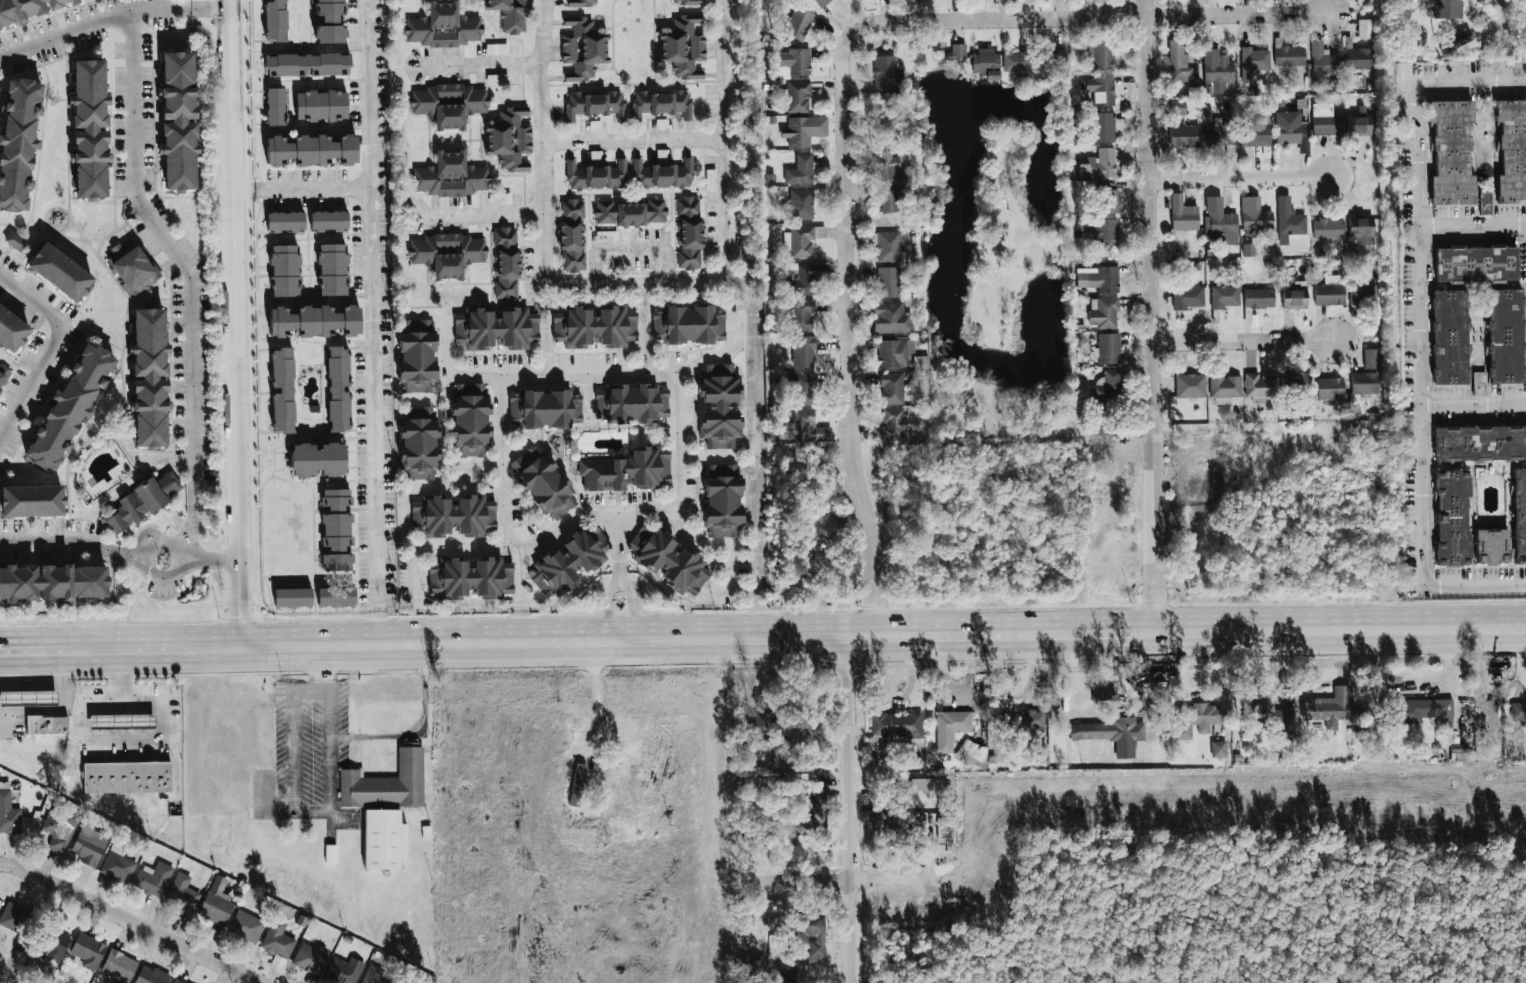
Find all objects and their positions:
building: (1098, 0)
building: (686, 2)
building: (820, 2)
building: (580, 3)
building: (25, 9)
building: (1449, 9)
road: (210, 10)
road: (1497, 12)
building: (511, 14)
road: (1091, 19)
building: (275, 20)
building: (329, 21)
road: (94, 23)
building: (798, 24)
building: (443, 26)
building: (1364, 29)
building: (1462, 38)
building: (682, 46)
building: (581, 49)
building: (957, 51)
building: (1102, 56)
building: (1289, 56)
building: (1358, 59)
building: (1255, 60)
building: (795, 61)
building: (1058, 61)
building: (1323, 63)
building: (307, 64)
road: (481, 64)
building: (985, 64)
building: (1019, 64)
building: (1217, 67)
building: (1184, 71)
building: (887, 73)
road: (1472, 81)
building: (1100, 89)
building: (798, 97)
building: (449, 104)
building: (660, 104)
building: (321, 105)
building: (594, 105)
building: (275, 106)
building: (1177, 107)
building: (181, 122)
building: (1327, 124)
building: (1358, 126)
building: (1103, 127)
building: (1290, 128)
building: (94, 131)
building: (798, 132)
building: (1255, 135)
building: (1184, 136)
building: (1223, 136)
building: (510, 138)
road: (633, 140)
road: (724, 140)
building: (20, 146)
building: (311, 150)
building: (1511, 152)
building: (1450, 153)
building: (1098, 164)
building: (800, 169)
building: (662, 175)
building: (450, 176)
building: (595, 176)
road: (1242, 178)
building: (711, 180)
road: (305, 188)
building: (891, 194)
building: (1106, 199)
building: (1486, 203)
building: (801, 204)
building: (629, 213)
road: (484, 214)
building: (1183, 215)
building: (329, 220)
building: (1257, 220)
building: (285, 221)
building: (1223, 223)
building: (1292, 223)
road: (1473, 224)
building: (1328, 228)
building: (1361, 230)
building: (1103, 232)
building: (688, 233)
building: (572, 235)
building: (607, 236)
building: (15, 241)
building: (801, 242)
building: (886, 245)
road: (630, 252)
building: (446, 253)
road: (176, 255)
building: (506, 263)
building: (1477, 264)
building: (134, 269)
building: (332, 269)
building: (285, 270)
building: (62, 275)
building: (806, 278)
building: (1102, 279)
road: (683, 282)
building: (887, 282)
building: (1362, 294)
building: (1225, 295)
building: (1188, 298)
building: (1258, 299)
building: (1293, 299)
building: (1103, 313)
road: (1152, 315)
building: (801, 316)
building: (890, 318)
building: (314, 321)
road: (378, 324)
building: (686, 325)
road: (237, 326)
building: (593, 327)
building: (497, 328)
road: (646, 328)
building: (12, 331)
road: (1421, 332)
building: (1505, 337)
road: (844, 338)
building: (1448, 338)
road: (546, 339)
road: (1245, 345)
road: (47, 349)
building: (1108, 349)
building: (803, 352)
building: (893, 354)
road: (445, 355)
road: (615, 372)
building: (1366, 375)
building: (5, 377)
building: (152, 380)
building: (1294, 383)
building: (1479, 383)
building: (1190, 386)
building: (1225, 386)
building: (1261, 386)
building: (1108, 387)
building: (892, 388)
building: (339, 389)
building: (805, 389)
building: (1330, 389)
building: (282, 390)
road: (587, 397)
building: (630, 404)
road: (1473, 405)
building: (716, 406)
building: (545, 408)
building: (72, 410)
building: (471, 420)
building: (1101, 420)
building: (894, 424)
building: (805, 427)
building: (1480, 444)
road: (706, 455)
building: (1201, 458)
building: (318, 459)
road: (498, 459)
road: (471, 467)
building: (627, 471)
road: (679, 478)
building: (544, 484)
building: (719, 500)
building: (34, 502)
building: (145, 503)
building: (453, 515)
building: (1519, 516)
building: (1450, 519)
road: (190, 529)
building: (336, 530)
road: (59, 539)
road: (549, 540)
building: (1490, 546)
road: (619, 548)
road: (129, 554)
road: (215, 559)
road: (140, 560)
building: (666, 560)
building: (570, 562)
building: (471, 577)
road: (734, 578)
road: (618, 582)
road: (1474, 582)
building: (54, 584)
building: (336, 596)
road: (522, 596)
building: (293, 597)
road: (795, 638)
road: (32, 657)
road: (318, 670)
road: (15, 671)
road: (122, 676)
road: (32, 683)
road: (12, 687)
road: (28, 687)
road: (43, 687)
road: (43, 697)
road: (12, 698)
building: (28, 698)
road: (28, 698)
road: (597, 701)
road: (120, 705)
road: (140, 705)
road: (103, 706)
road: (44, 707)
road: (12, 708)
road: (28, 708)
building: (1320, 709)
road: (58, 710)
building: (1423, 711)
building: (1518, 711)
road: (209, 713)
building: (1266, 716)
building: (1197, 719)
road: (3, 721)
road: (103, 721)
road: (120, 721)
building: (122, 721)
road: (140, 721)
building: (1021, 722)
building: (955, 724)
building: (47, 725)
building: (765, 725)
building: (896, 725)
building: (1102, 730)
road: (417, 731)
road: (103, 732)
road: (121, 732)
road: (140, 732)
road: (122, 736)
building: (1219, 749)
building: (1124, 750)
building: (972, 752)
building: (1460, 752)
road: (292, 762)
building: (127, 777)
building: (387, 782)
building: (760, 787)
building: (617, 793)
building: (817, 794)
road: (127, 805)
road: (847, 809)
building: (8, 814)
building: (806, 825)
building: (58, 830)
building: (385, 839)
building: (89, 845)
building: (118, 865)
building: (153, 879)
road: (848, 880)
building: (182, 892)
building: (217, 902)
building: (15, 917)
road: (130, 921)
building: (247, 926)
building: (277, 944)
building: (54, 946)
building: (817, 947)
building: (88, 950)
building: (310, 958)
building: (119, 966)
building: (756, 968)
building: (343, 970)
building: (151, 975)
building: (373, 975)
building: (787, 975)
building: (177, 981)

